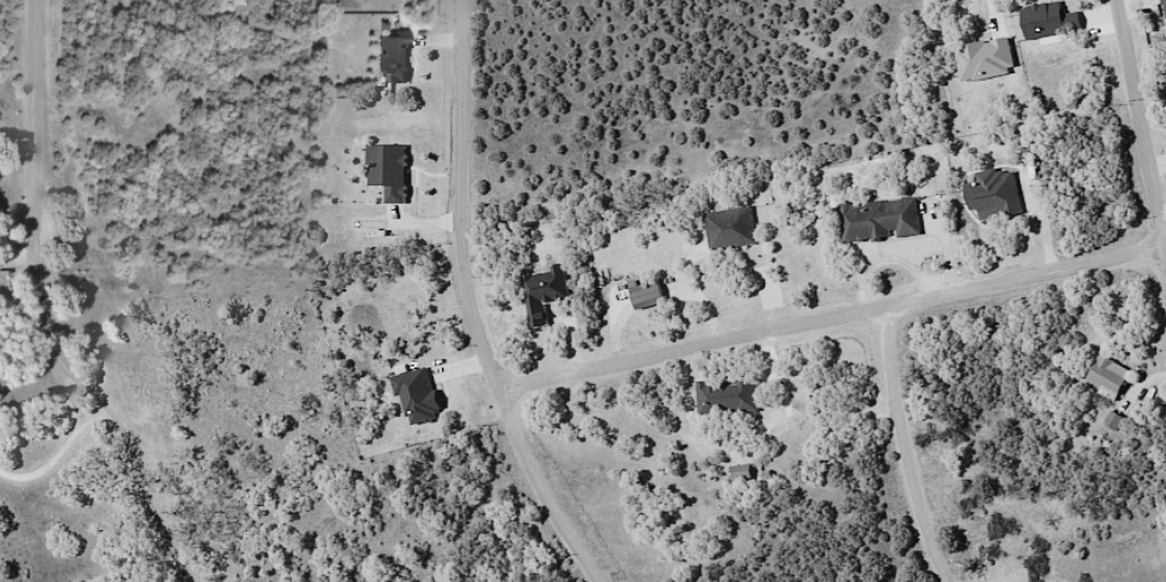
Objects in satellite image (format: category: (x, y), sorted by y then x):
building: (391, 57)
building: (982, 59)
road: (1143, 108)
building: (385, 170)
building: (990, 195)
road: (463, 204)
building: (0, 207)
building: (877, 219)
building: (728, 228)
road: (99, 240)
building: (542, 293)
building: (643, 294)
road: (48, 312)
road: (837, 322)
building: (1105, 376)
building: (724, 396)
road: (556, 493)

